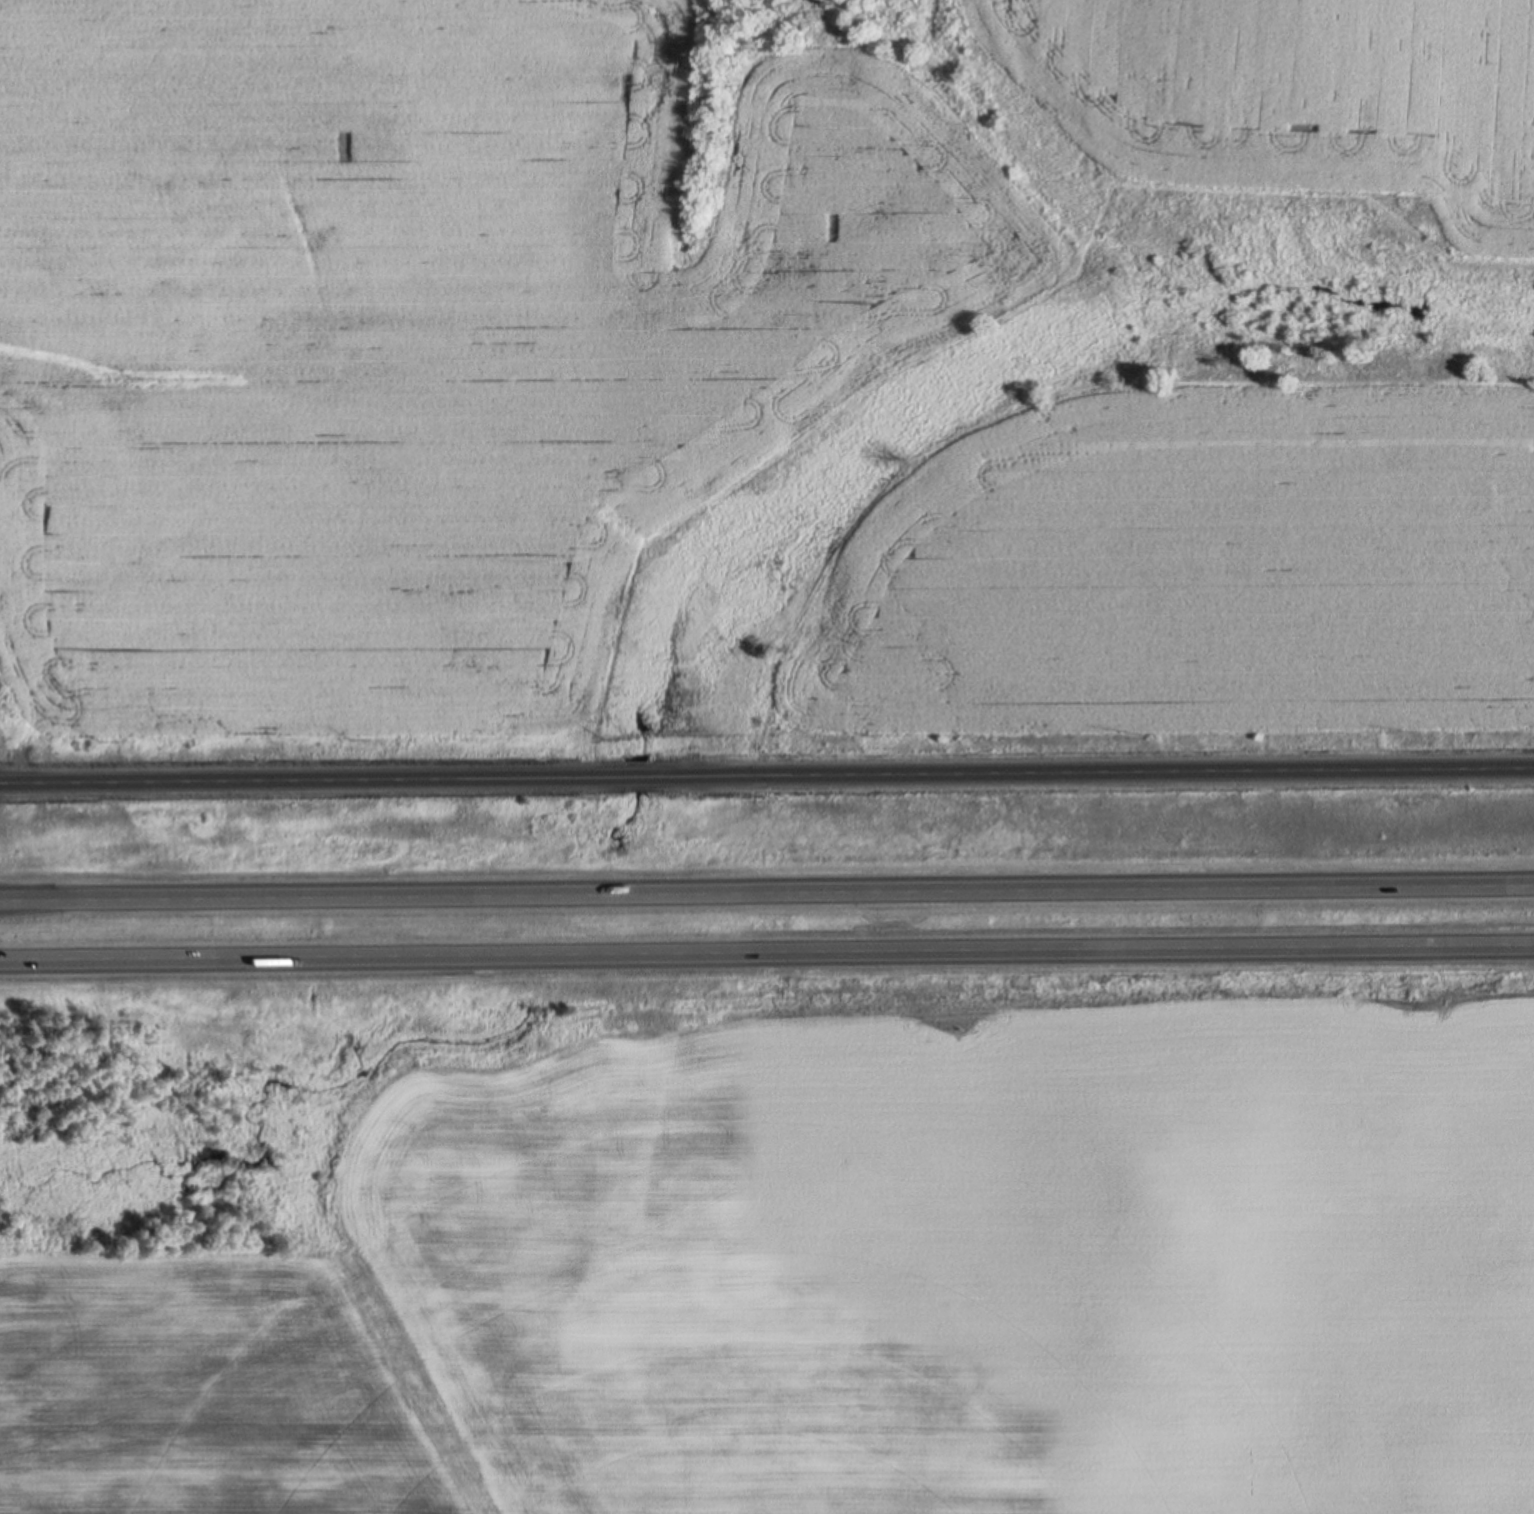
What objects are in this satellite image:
road: (1091, 771)
road: (638, 774)
road: (314, 775)
road: (766, 886)
road: (766, 947)
crop: (850, 1280)

